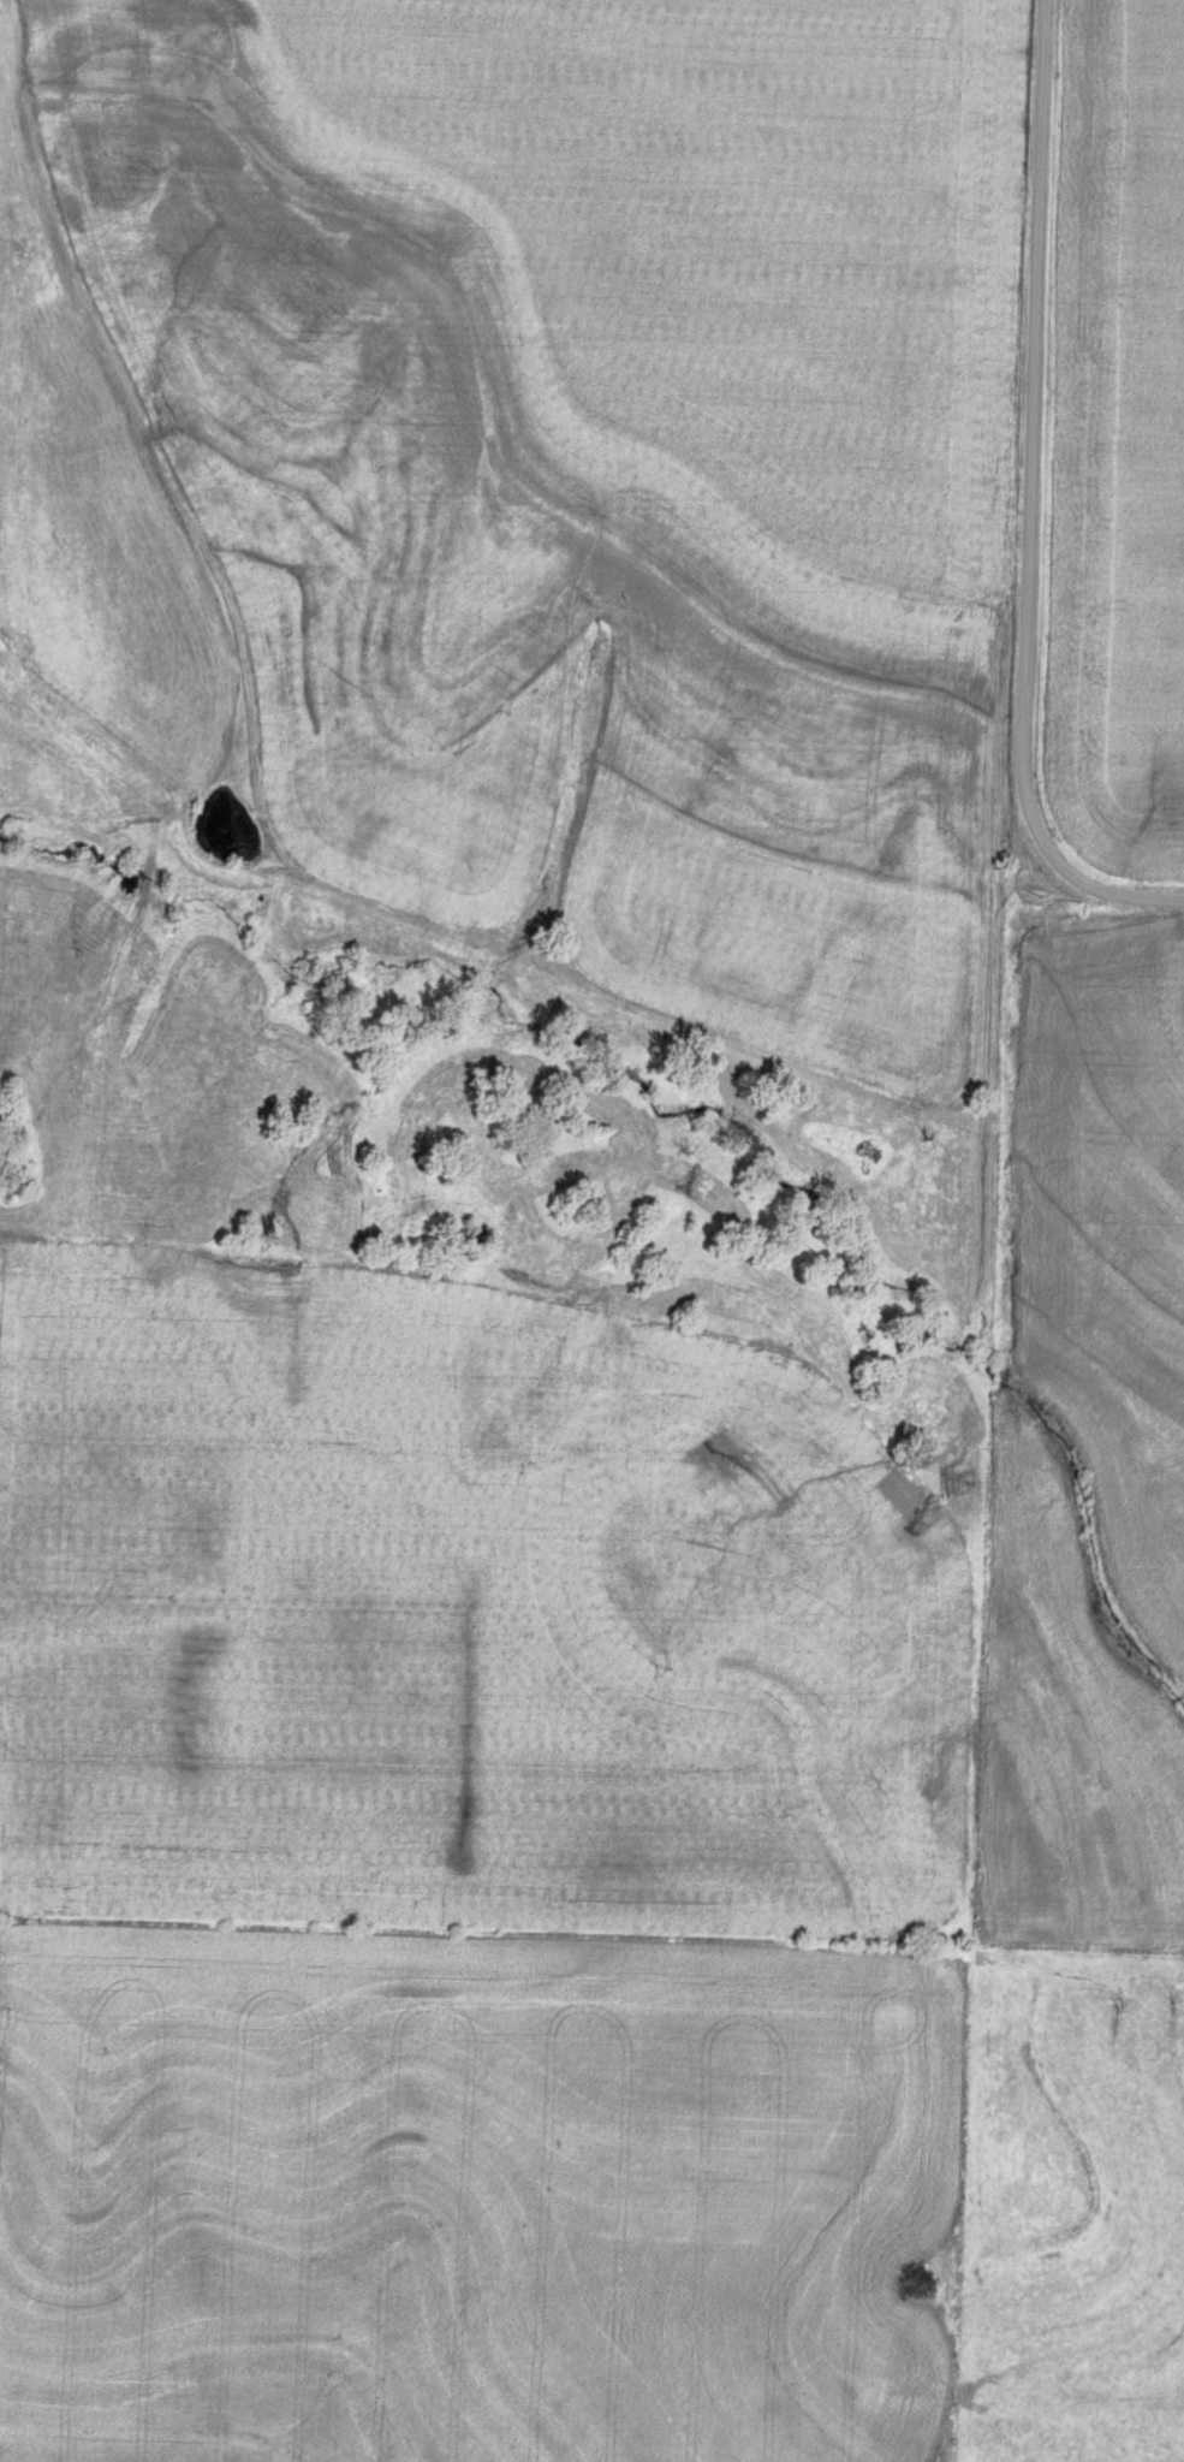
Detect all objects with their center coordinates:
road: (1028, 503)

